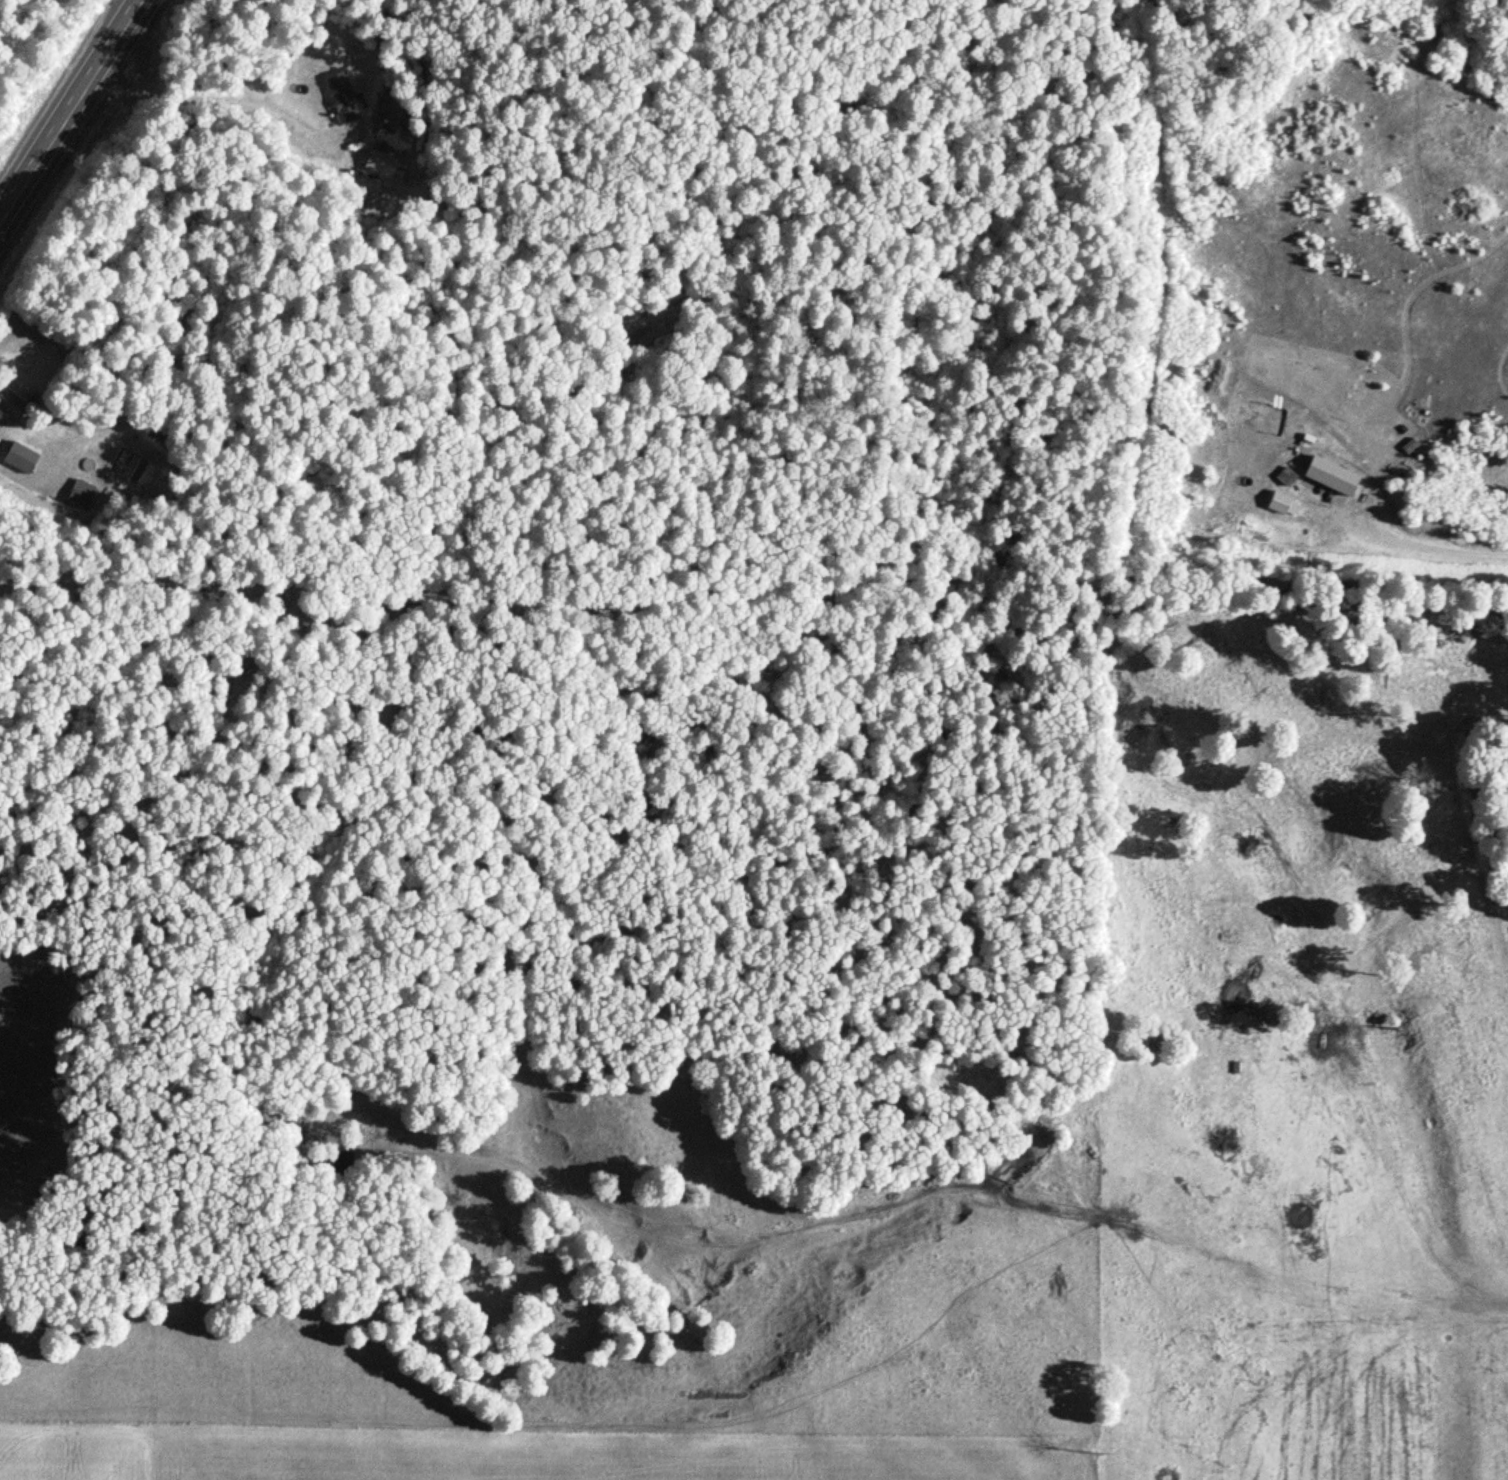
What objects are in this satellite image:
building: (340, 94)
road: (65, 102)
building: (9, 396)
building: (20, 455)
building: (79, 497)

